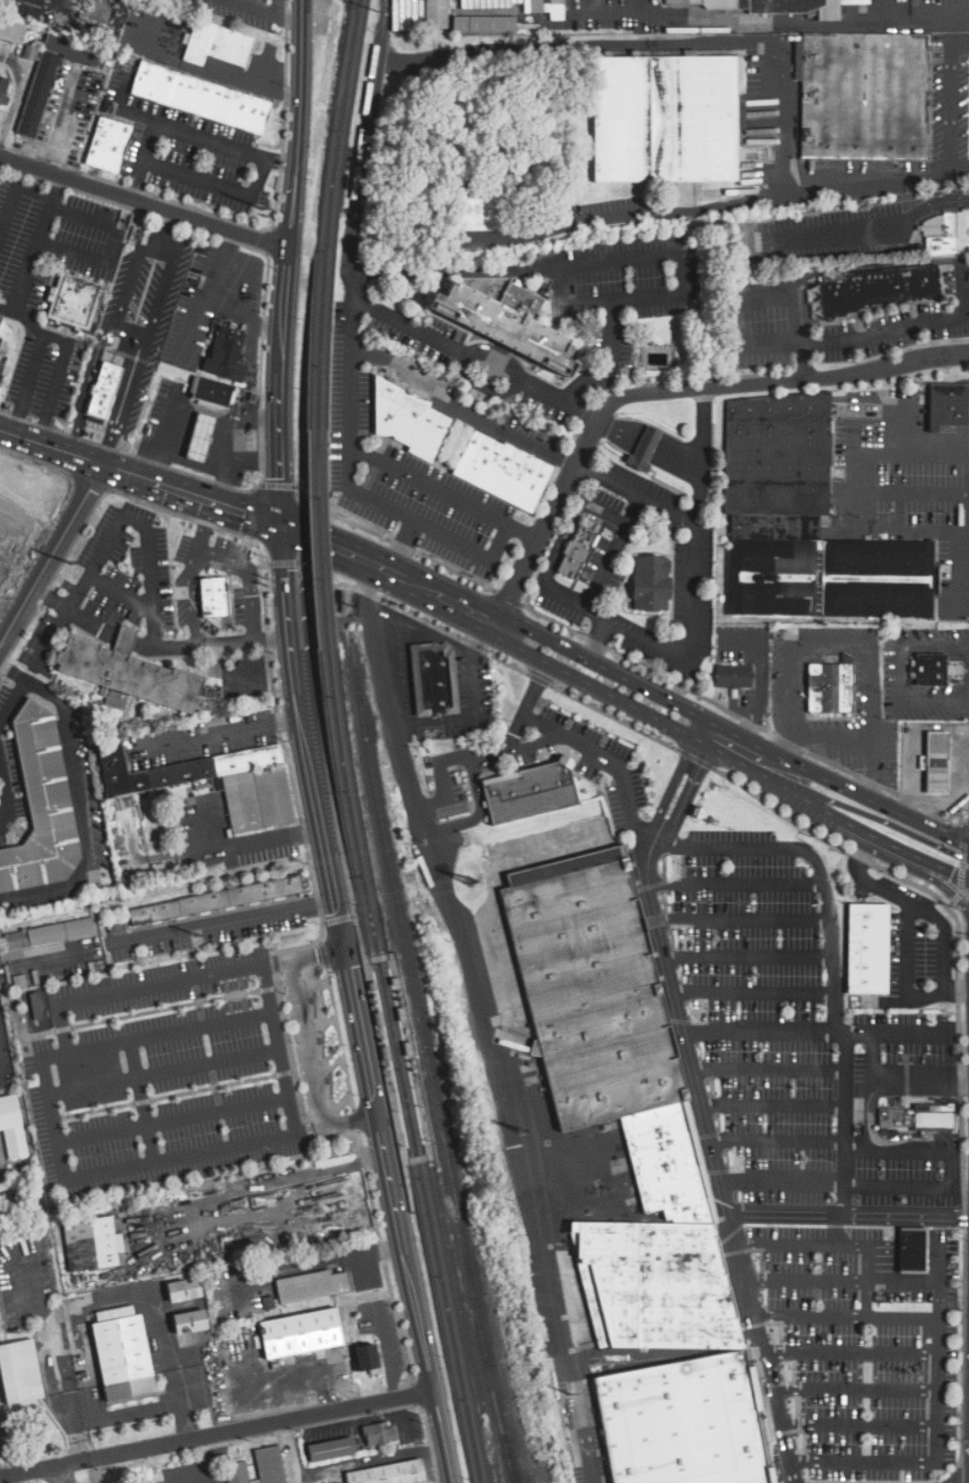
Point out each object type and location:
building: (758, 6)
building: (547, 8)
road: (265, 11)
building: (436, 14)
building: (485, 24)
road: (801, 24)
building: (12, 31)
road: (749, 44)
building: (216, 45)
building: (51, 75)
road: (219, 77)
building: (3, 93)
building: (862, 96)
road: (16, 97)
building: (200, 100)
road: (954, 101)
building: (665, 119)
road: (190, 131)
building: (107, 146)
road: (141, 159)
road: (215, 183)
road: (16, 193)
road: (144, 205)
building: (485, 210)
railway: (326, 213)
railway: (334, 213)
road: (622, 218)
road: (878, 223)
building: (947, 233)
road: (114, 245)
road: (617, 259)
road: (288, 261)
building: (877, 289)
road: (200, 295)
road: (766, 296)
building: (72, 303)
road: (351, 306)
road: (8, 308)
road: (246, 311)
road: (796, 318)
road: (29, 320)
road: (131, 324)
building: (499, 324)
road: (418, 329)
road: (892, 329)
road: (148, 331)
road: (98, 336)
road: (773, 342)
building: (226, 353)
road: (613, 359)
road: (493, 366)
road: (28, 385)
building: (105, 390)
road: (666, 391)
building: (212, 393)
road: (551, 393)
road: (462, 403)
building: (947, 405)
building: (406, 418)
road: (620, 427)
building: (201, 436)
road: (650, 440)
building: (646, 448)
road: (680, 453)
road: (853, 465)
building: (501, 470)
road: (141, 476)
road: (428, 483)
road: (632, 490)
road: (920, 490)
road: (870, 493)
road: (626, 518)
traffic signals: (282, 523)
building: (805, 524)
road: (610, 526)
road: (624, 527)
road: (146, 533)
railway: (323, 539)
railway: (314, 540)
road: (335, 541)
road: (52, 553)
building: (577, 553)
road: (486, 558)
road: (292, 563)
road: (247, 568)
road: (604, 572)
road: (968, 572)
building: (650, 583)
road: (263, 584)
road: (314, 587)
road: (117, 591)
road: (443, 595)
building: (213, 596)
road: (599, 639)
road: (849, 641)
road: (935, 647)
road: (691, 655)
road: (607, 670)
building: (930, 670)
road: (12, 673)
building: (129, 673)
road: (216, 674)
road: (901, 674)
building: (733, 675)
building: (433, 678)
building: (829, 688)
road: (935, 700)
road: (13, 701)
road: (525, 708)
road: (642, 711)
road: (400, 725)
road: (226, 734)
road: (307, 735)
road: (829, 736)
road: (546, 740)
road: (747, 741)
building: (936, 762)
building: (248, 786)
road: (745, 789)
building: (529, 791)
road: (875, 802)
building: (41, 806)
road: (83, 811)
road: (881, 820)
road: (848, 826)
road: (259, 841)
traffic signals: (955, 854)
road: (961, 857)
road: (932, 864)
traffic signals: (954, 871)
road: (961, 874)
power tower: (471, 882)
road: (736, 883)
road: (941, 884)
road: (954, 899)
building: (214, 900)
road: (338, 919)
road: (221, 920)
road: (743, 920)
road: (906, 932)
building: (50, 933)
road: (944, 934)
power tower: (196, 935)
road: (360, 943)
traffic signals: (346, 946)
road: (44, 947)
building: (871, 948)
road: (316, 951)
road: (322, 951)
road: (834, 953)
road: (748, 955)
road: (379, 957)
road: (274, 963)
railway: (372, 963)
road: (241, 980)
road: (228, 983)
road: (147, 985)
road: (269, 988)
road: (197, 989)
road: (753, 990)
parking lot: (0, 991)
road: (246, 1006)
road: (166, 1009)
road: (232, 1009)
road: (201, 1015)
road: (19, 1025)
road: (63, 1029)
road: (361, 1030)
road: (760, 1031)
road: (914, 1035)
road: (339, 1038)
road: (304, 1041)
road: (280, 1046)
road: (290, 1048)
road: (2, 1050)
railway: (428, 1060)
parking lot: (189, 1067)
railway: (404, 1067)
road: (769, 1067)
railway: (396, 1068)
road: (285, 1072)
road: (164, 1073)
road: (214, 1075)
road: (880, 1080)
road: (213, 1087)
road: (219, 1099)
road: (701, 1099)
road: (143, 1100)
building: (619, 1101)
road: (142, 1102)
road: (502, 1102)
road: (773, 1104)
road: (93, 1111)
building: (915, 1118)
road: (173, 1120)
road: (349, 1120)
road: (356, 1122)
building: (12, 1127)
road: (54, 1130)
road: (309, 1132)
power tower: (522, 1132)
road: (778, 1138)
railway: (431, 1143)
road: (910, 1150)
road: (424, 1157)
road: (278, 1181)
road: (783, 1181)
road: (907, 1184)
road: (409, 1192)
building: (302, 1209)
road: (849, 1214)
road: (939, 1230)
road: (378, 1236)
road: (801, 1241)
building: (92, 1243)
road: (885, 1244)
road: (916, 1245)
road: (934, 1245)
building: (916, 1250)
road: (885, 1251)
road: (916, 1251)
road: (934, 1252)
road: (885, 1260)
road: (916, 1260)
road: (934, 1260)
road: (885, 1267)
road: (916, 1268)
road: (933, 1269)
road: (805, 1277)
road: (938, 1281)
building: (312, 1286)
building: (181, 1290)
road: (414, 1298)
road: (104, 1301)
road: (809, 1316)
building: (187, 1322)
building: (299, 1333)
road: (850, 1353)
building: (121, 1356)
building: (364, 1357)
road: (936, 1370)
building: (19, 1372)
road: (853, 1387)
road: (414, 1394)
power tower: (572, 1395)
road: (179, 1403)
road: (128, 1415)
building: (683, 1421)
road: (858, 1424)
road: (76, 1425)
road: (216, 1433)
building: (379, 1433)
building: (329, 1450)
railway: (510, 1460)
building: (269, 1465)
building: (237, 1472)
building: (389, 1474)

